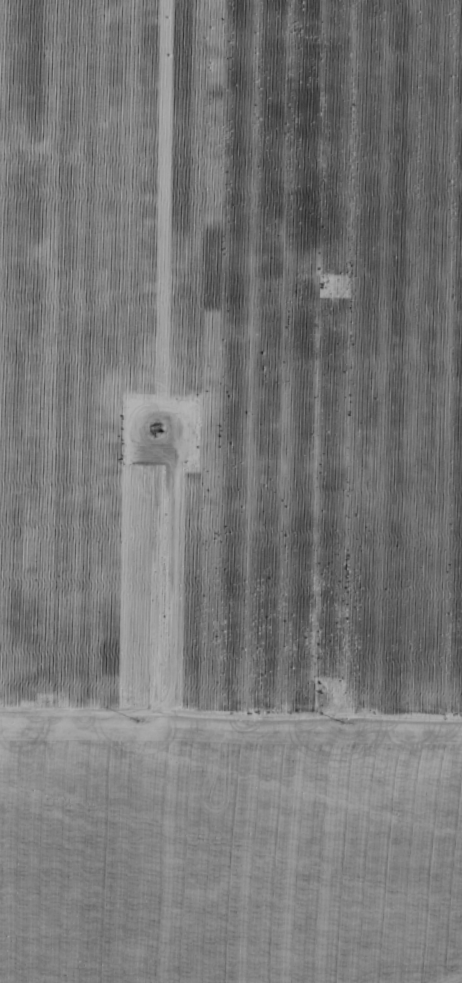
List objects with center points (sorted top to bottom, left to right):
road: (231, 734)

